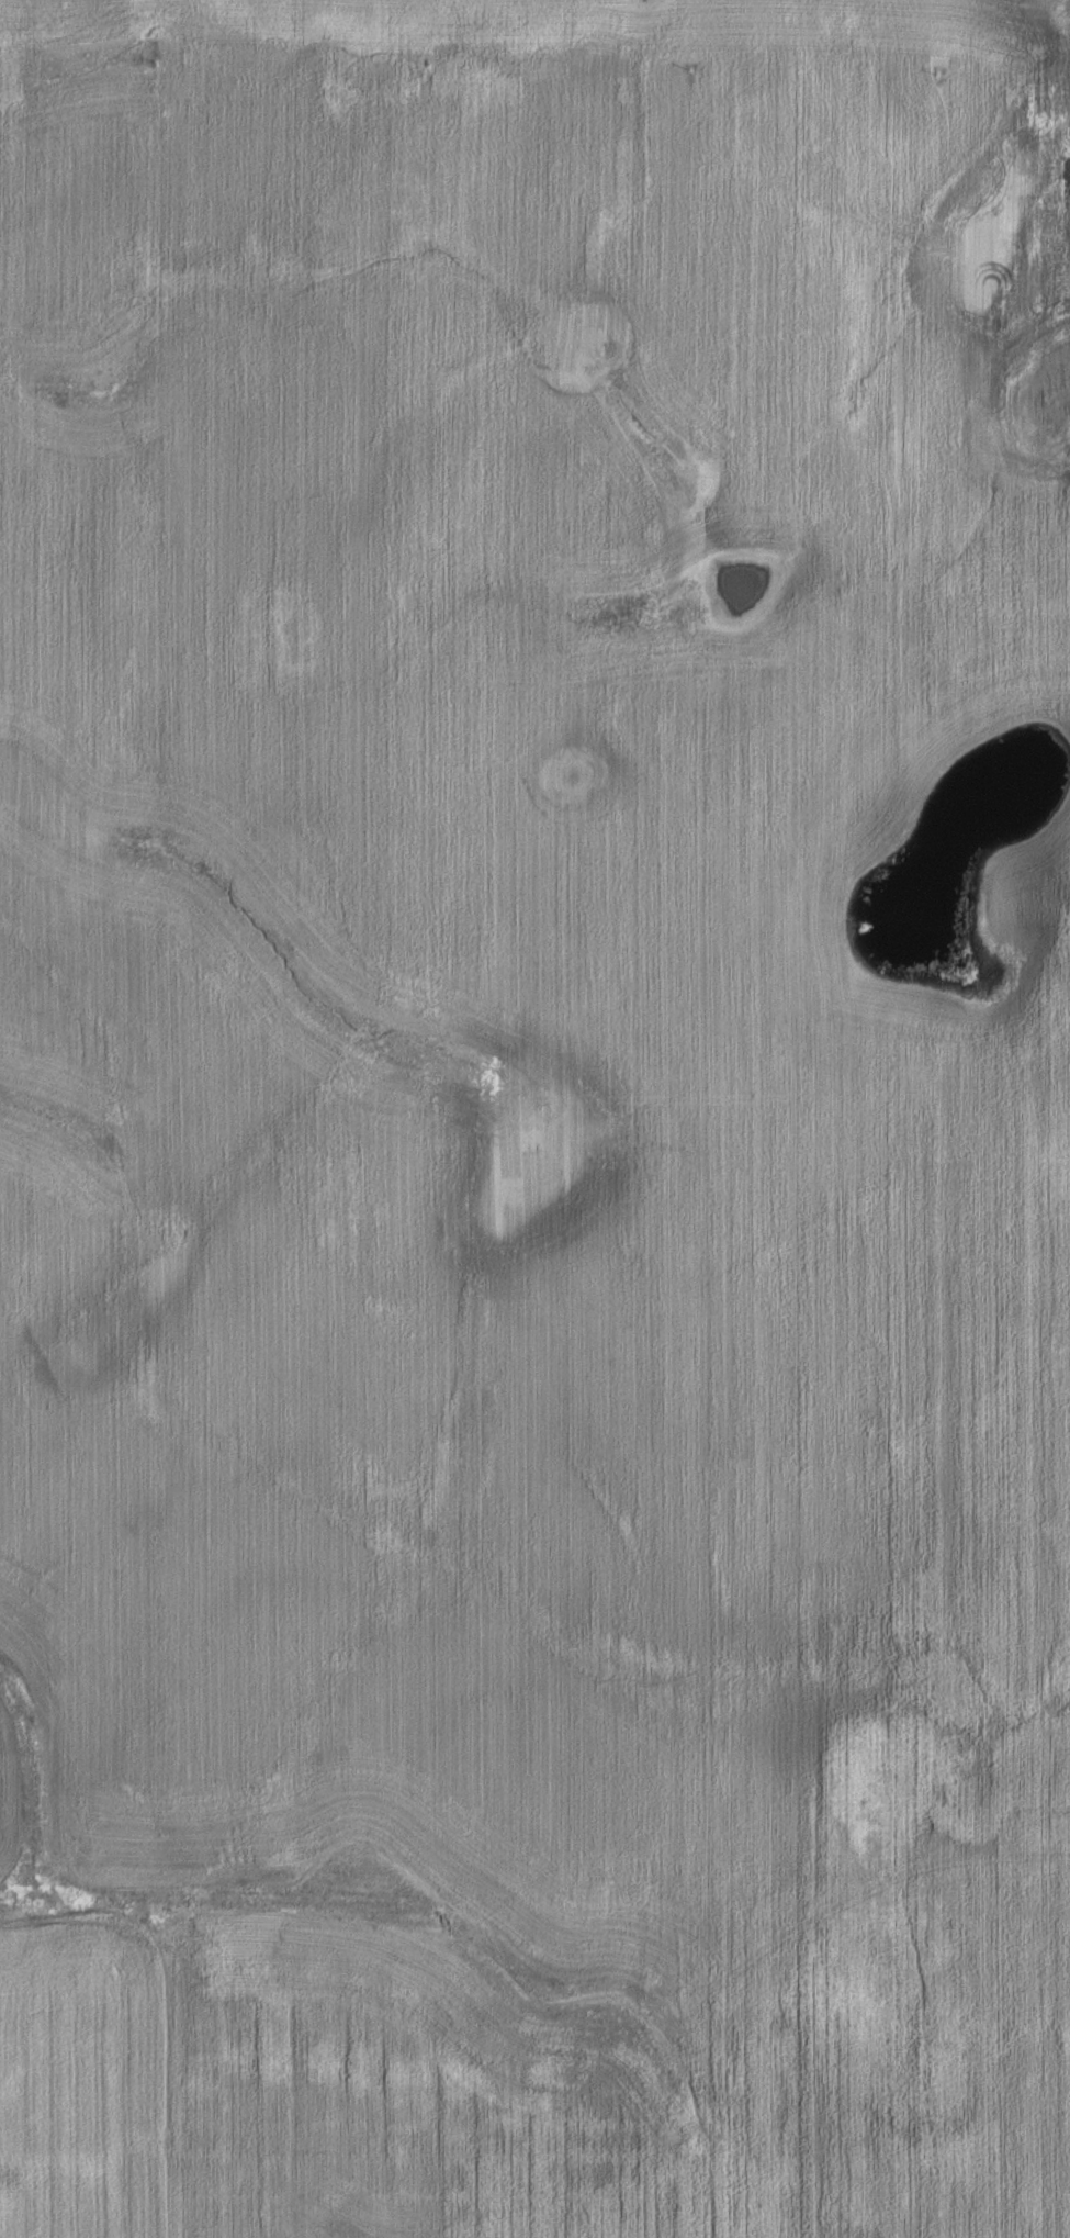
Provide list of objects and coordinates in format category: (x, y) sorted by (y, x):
crop: (529, 954)
crop: (529, 2071)

